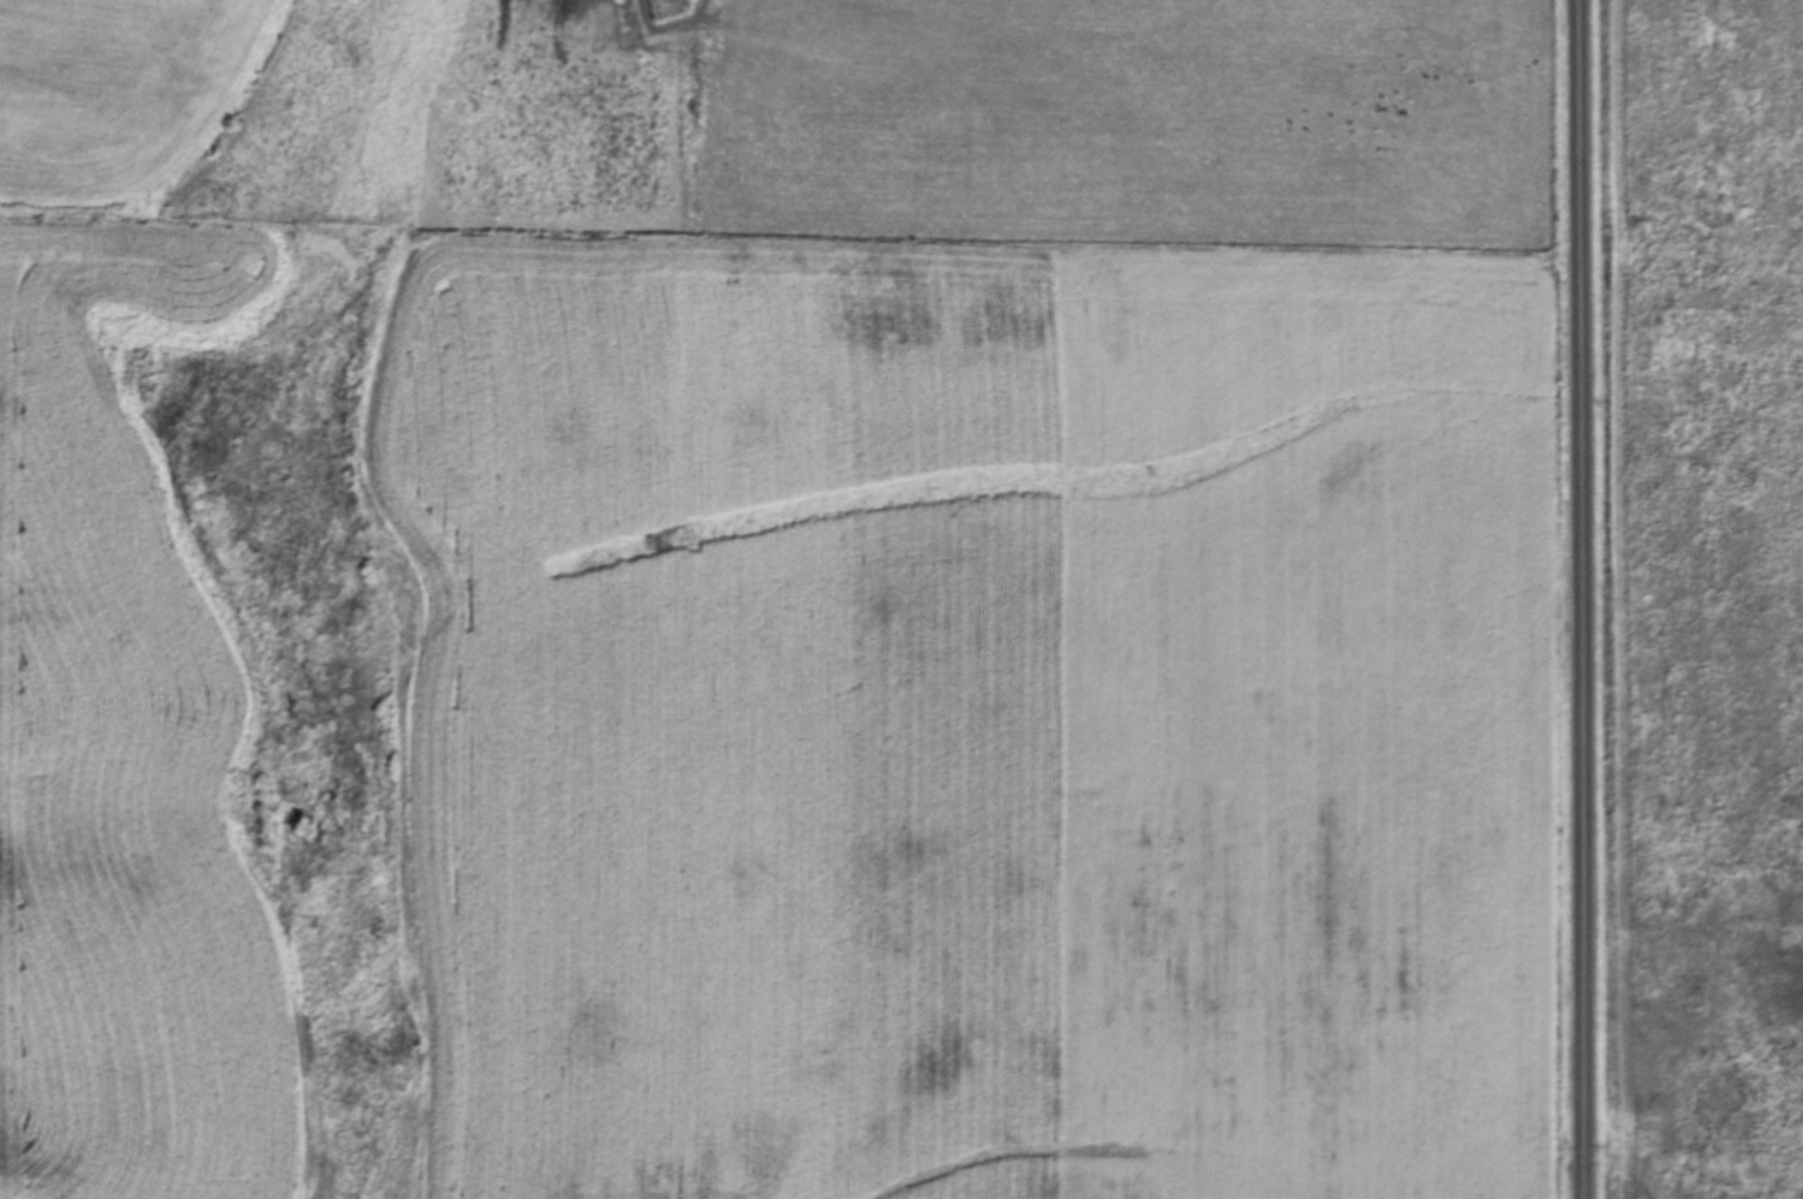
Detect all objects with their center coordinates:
road: (1576, 599)

